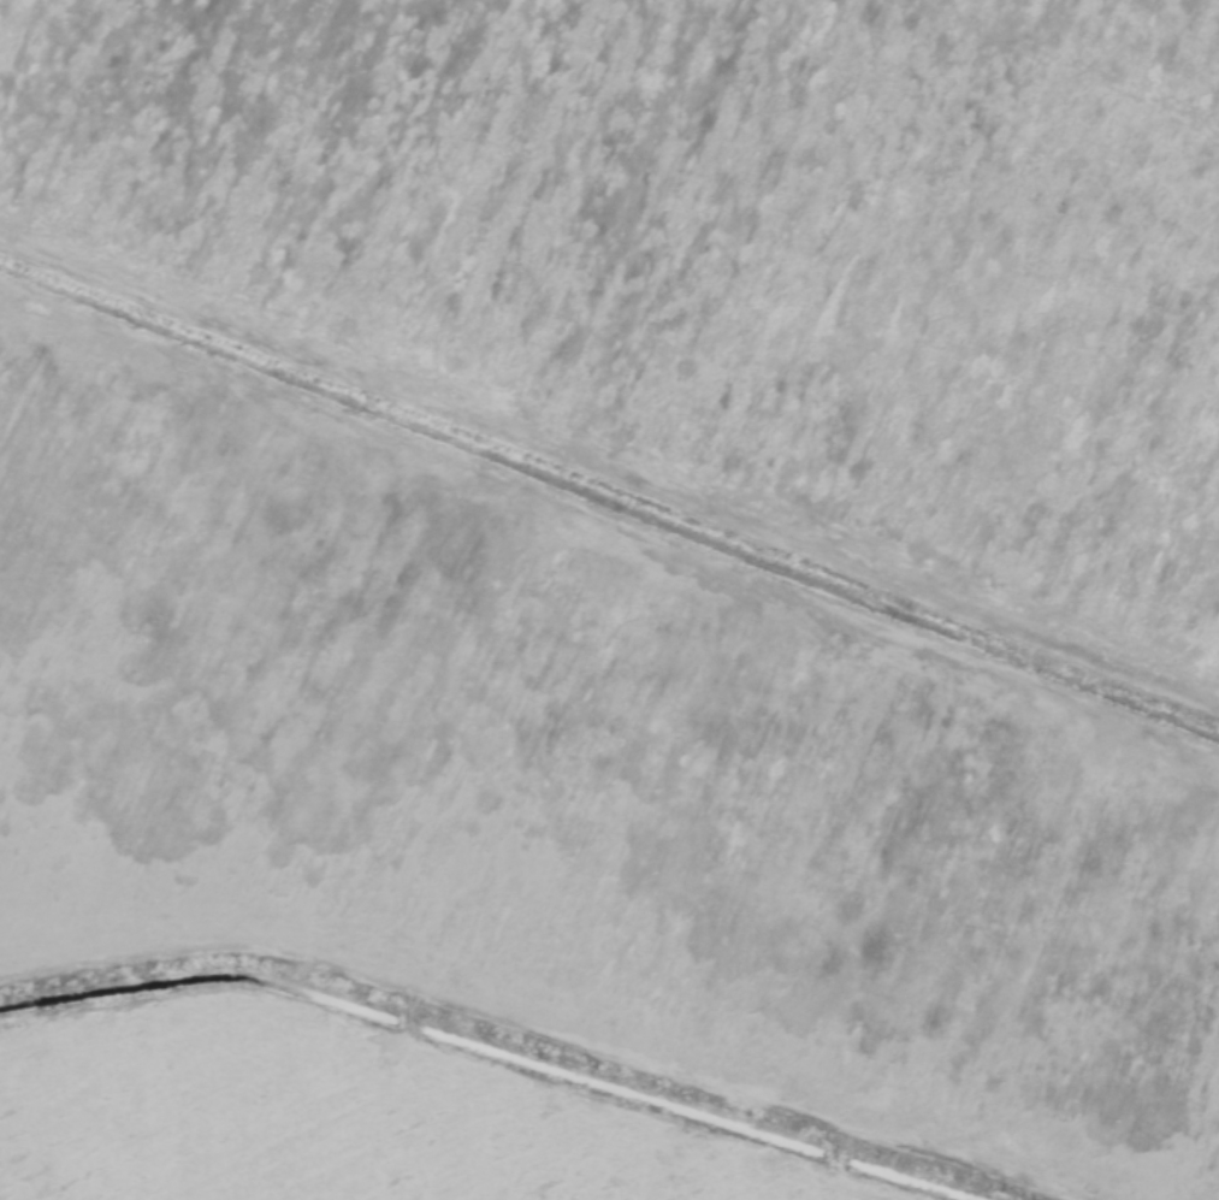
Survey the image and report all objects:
crop: (329, 1121)

